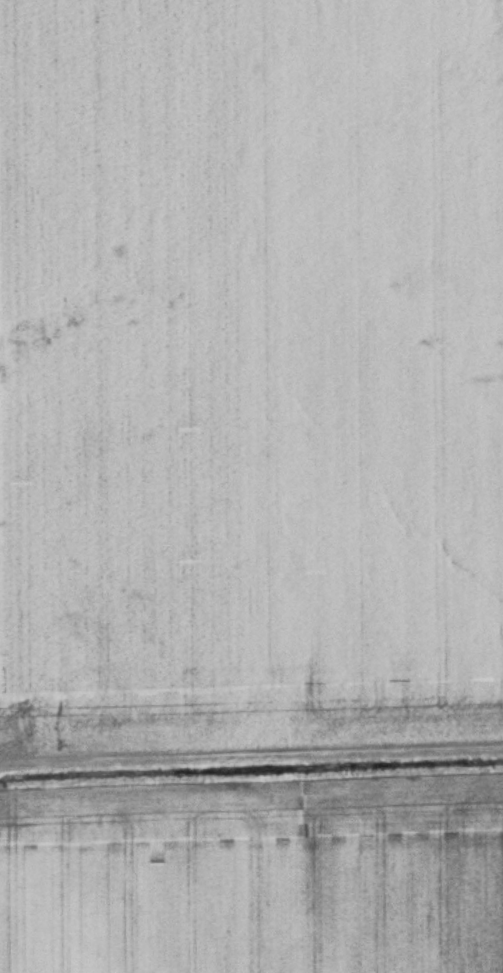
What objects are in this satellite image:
crop: (250, 371)
crop: (255, 875)

